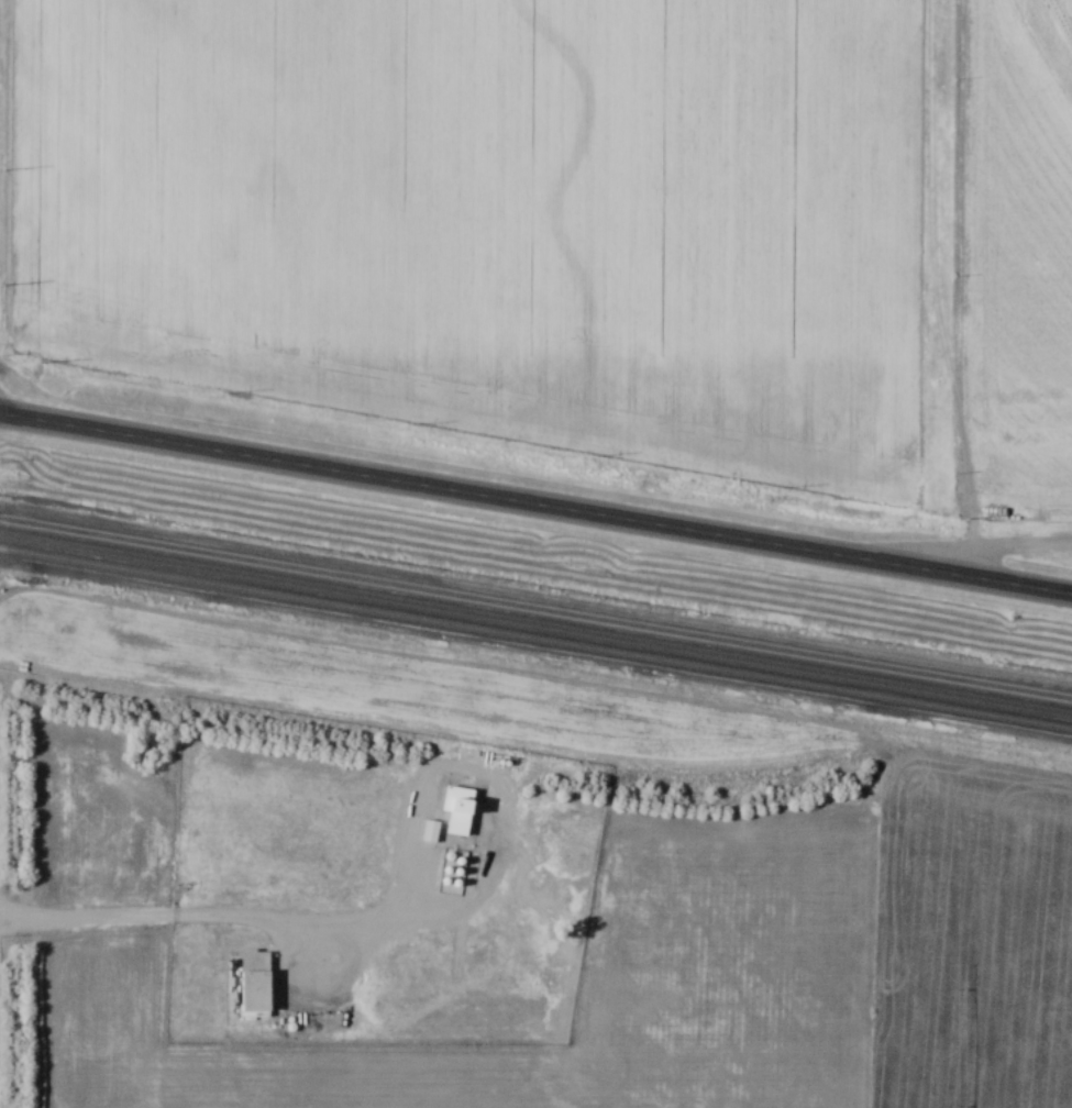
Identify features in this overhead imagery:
crop: (494, 213)
road: (535, 502)
road: (987, 545)
railway: (535, 607)
railway: (535, 622)
railway: (535, 636)
building: (460, 800)
road: (135, 918)
building: (255, 980)
crop: (728, 988)
road: (329, 993)

